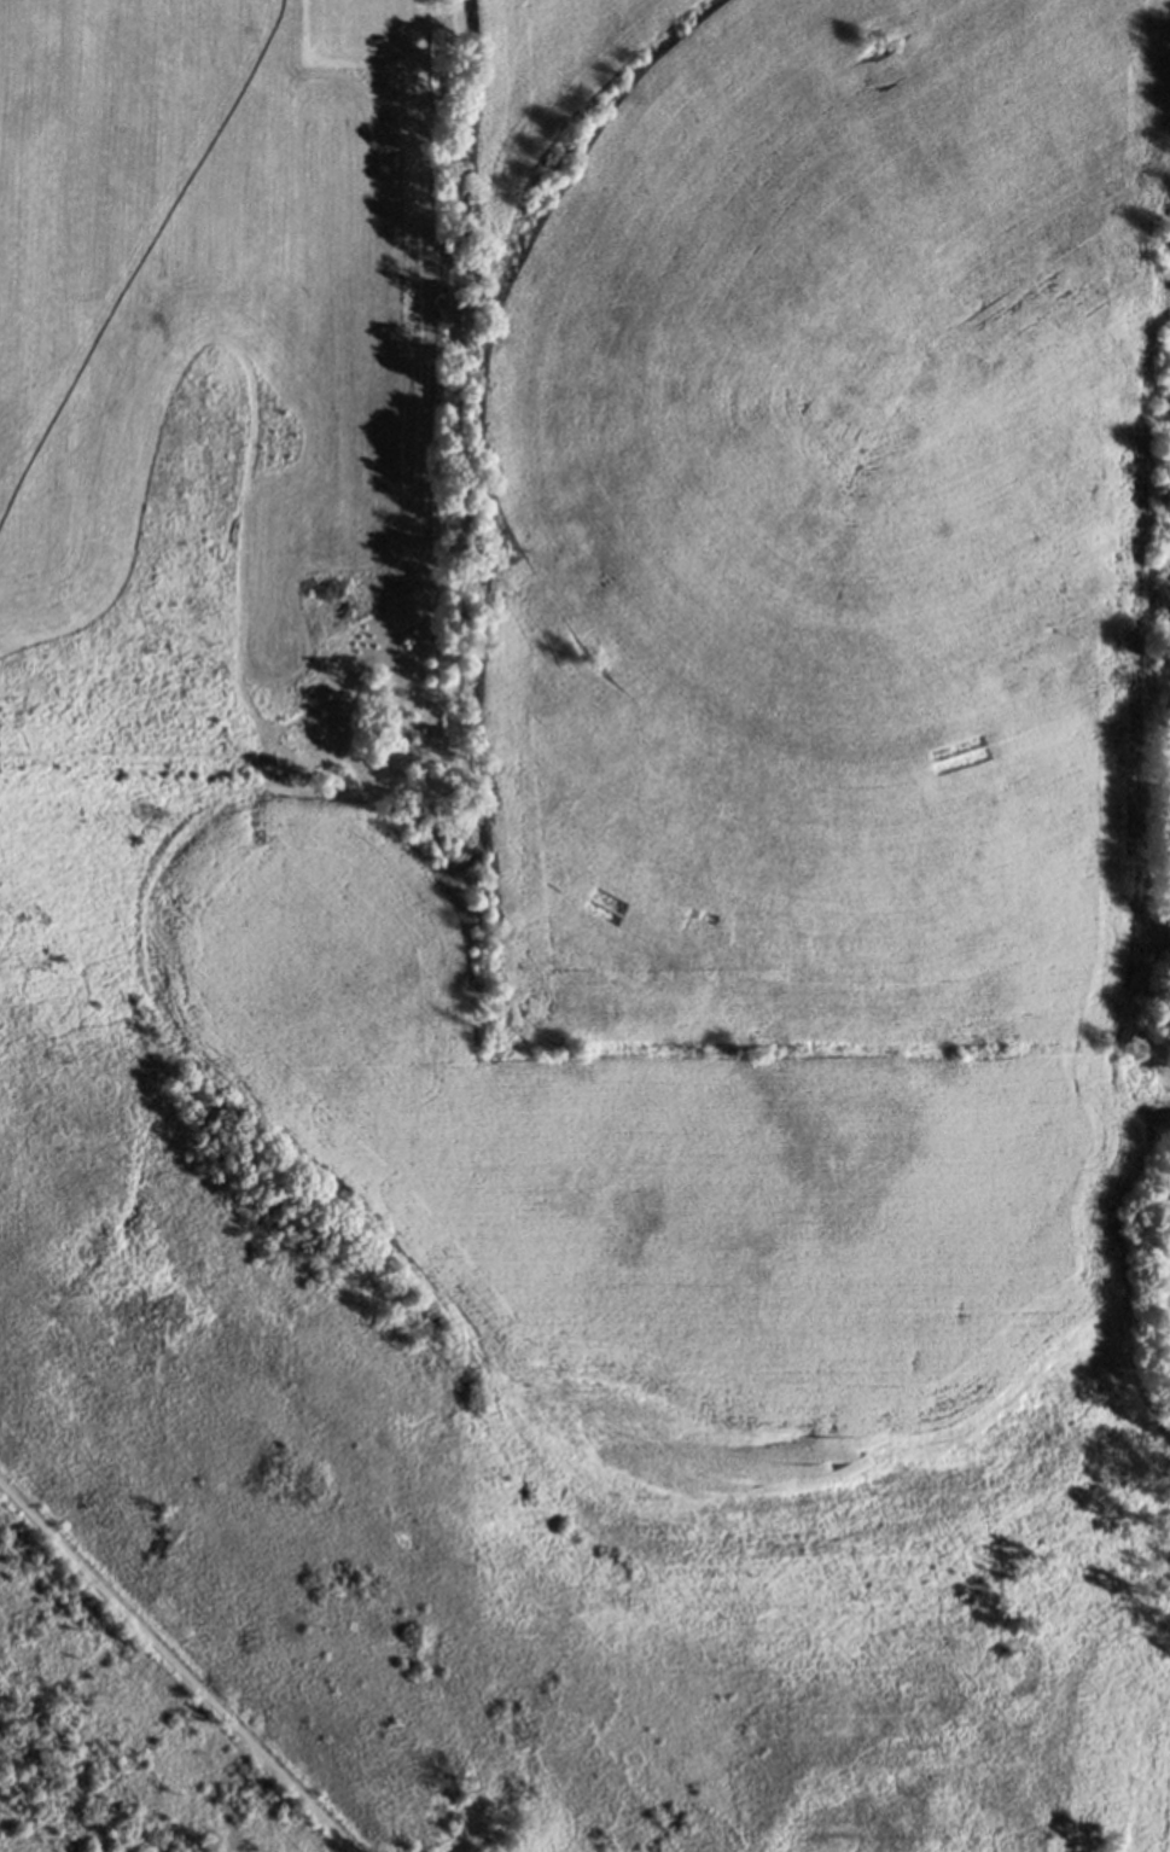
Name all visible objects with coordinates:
road: (176, 1667)

